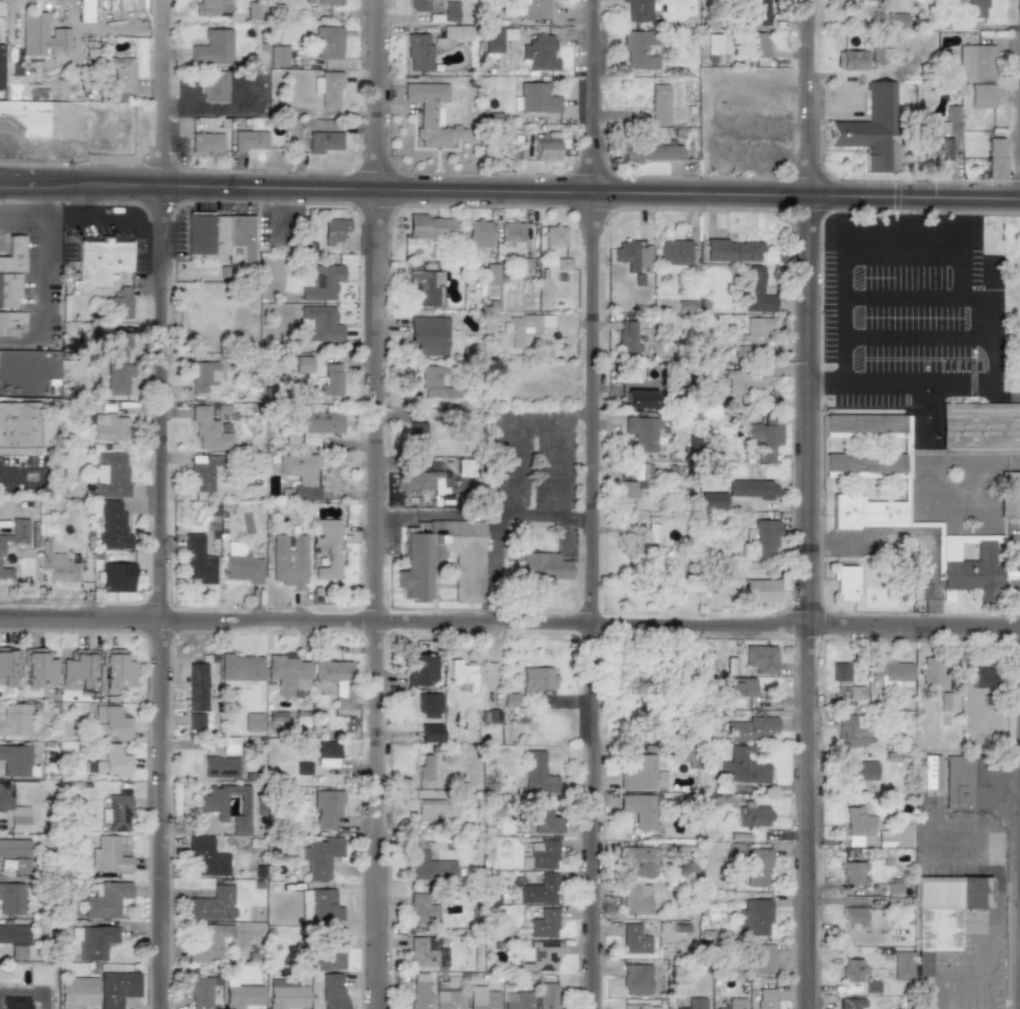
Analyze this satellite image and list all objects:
building: (330, 2)
building: (417, 5)
building: (212, 8)
building: (533, 9)
building: (255, 10)
building: (639, 10)
building: (84, 11)
building: (450, 11)
building: (758, 13)
building: (457, 33)
building: (496, 38)
building: (328, 42)
building: (712, 45)
building: (214, 48)
building: (758, 48)
building: (639, 49)
building: (418, 52)
building: (540, 53)
building: (878, 55)
building: (278, 56)
building: (851, 60)
building: (976, 62)
building: (0, 64)
building: (121, 77)
building: (215, 87)
building: (328, 89)
road: (190, 95)
building: (981, 96)
building: (536, 98)
road: (827, 101)
building: (659, 104)
road: (216, 108)
building: (431, 114)
building: (25, 117)
building: (871, 129)
building: (249, 140)
building: (943, 141)
building: (325, 142)
building: (206, 143)
building: (544, 148)
building: (650, 153)
building: (994, 159)
road: (0, 184)
road: (0, 185)
road: (510, 191)
road: (81, 219)
building: (430, 227)
building: (334, 230)
building: (511, 231)
building: (477, 234)
building: (206, 235)
building: (554, 236)
building: (242, 237)
building: (731, 250)
building: (12, 255)
road: (903, 255)
building: (633, 256)
building: (674, 256)
building: (101, 261)
building: (563, 264)
building: (491, 274)
building: (638, 280)
building: (321, 282)
road: (43, 284)
building: (427, 287)
building: (9, 289)
building: (756, 291)
road: (903, 291)
building: (120, 303)
building: (685, 306)
road: (842, 318)
building: (11, 323)
building: (320, 324)
building: (526, 327)
building: (755, 328)
road: (919, 334)
building: (429, 335)
building: (627, 337)
building: (119, 345)
road: (993, 365)
building: (203, 376)
building: (118, 378)
building: (332, 379)
building: (744, 382)
building: (434, 383)
road: (533, 419)
road: (574, 420)
building: (318, 425)
building: (866, 425)
building: (109, 427)
building: (18, 428)
building: (979, 429)
building: (209, 431)
building: (643, 432)
building: (417, 437)
building: (765, 437)
building: (865, 462)
road: (511, 467)
road: (555, 468)
building: (203, 472)
building: (111, 475)
building: (304, 475)
road: (14, 476)
building: (417, 480)
building: (633, 484)
building: (752, 489)
building: (1010, 494)
building: (713, 501)
road: (162, 504)
road: (378, 504)
road: (595, 504)
road: (808, 504)
building: (866, 512)
road: (486, 514)
building: (113, 526)
building: (653, 529)
building: (16, 533)
building: (762, 538)
building: (327, 546)
building: (914, 547)
road: (493, 557)
building: (197, 560)
building: (288, 561)
building: (468, 563)
building: (57, 565)
building: (967, 567)
building: (243, 569)
building: (542, 569)
building: (5, 573)
building: (117, 577)
building: (844, 583)
building: (918, 584)
building: (757, 591)
road: (509, 624)
building: (760, 659)
building: (7, 666)
building: (38, 668)
building: (420, 669)
building: (78, 670)
building: (117, 670)
building: (239, 670)
building: (929, 670)
building: (890, 672)
building: (287, 674)
building: (462, 676)
building: (983, 677)
building: (336, 679)
building: (536, 679)
building: (844, 682)
building: (196, 686)
building: (737, 687)
building: (509, 701)
building: (429, 705)
building: (15, 719)
building: (195, 721)
building: (253, 722)
building: (110, 723)
building: (750, 729)
building: (849, 732)
building: (430, 733)
building: (328, 754)
building: (683, 757)
building: (16, 761)
building: (109, 761)
building: (220, 767)
building: (744, 767)
building: (425, 768)
building: (857, 770)
building: (929, 772)
building: (537, 774)
building: (643, 774)
building: (963, 782)
building: (211, 803)
building: (327, 808)
building: (641, 809)
building: (13, 810)
building: (431, 810)
building: (118, 813)
building: (752, 815)
building: (543, 821)
building: (857, 824)
road: (979, 828)
building: (894, 837)
building: (15, 853)
building: (543, 854)
building: (109, 855)
building: (321, 857)
building: (206, 858)
building: (641, 862)
building: (429, 867)
building: (755, 867)
building: (685, 870)
building: (852, 873)
building: (893, 888)
building: (539, 890)
building: (11, 898)
building: (636, 898)
building: (105, 899)
building: (212, 904)
building: (324, 908)
building: (421, 911)
building: (754, 917)
building: (853, 917)
building: (544, 924)
building: (13, 934)
building: (635, 940)
building: (91, 942)
building: (209, 942)
building: (20, 951)
building: (426, 952)
building: (538, 957)
building: (325, 958)
building: (759, 959)
road: (990, 963)
building: (902, 966)
building: (852, 969)
building: (636, 979)
building: (871, 987)
building: (117, 988)
building: (197, 991)
building: (332, 991)
building: (420, 991)
building: (77, 992)
building: (286, 994)
building: (241, 995)
building: (546, 995)
building: (482, 998)
building: (765, 998)
building: (449, 999)
building: (517, 1000)
building: (15, 1003)
building: (694, 1003)
building: (735, 1003)
building: (850, 1003)
building: (640, 1007)
building: (719, 1008)

